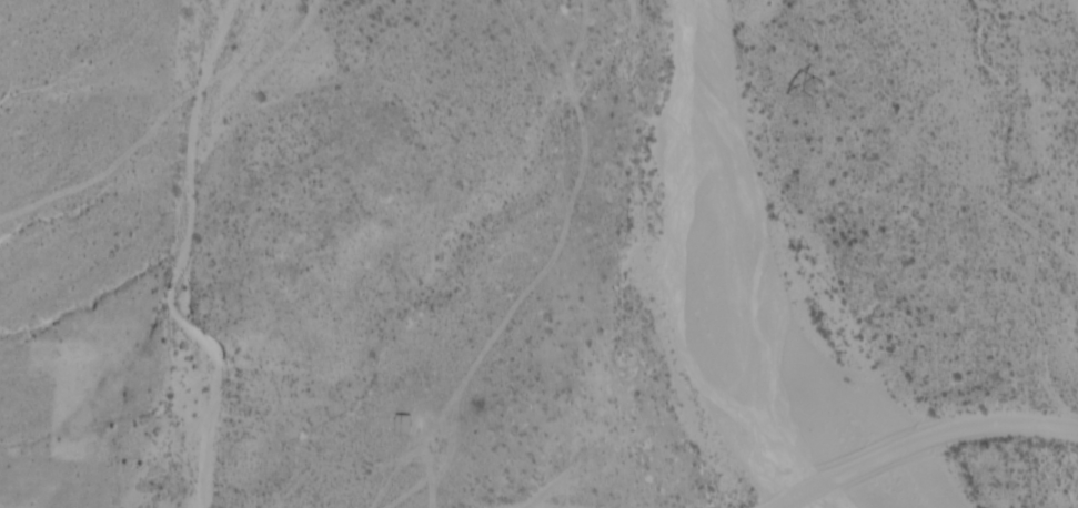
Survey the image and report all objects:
power tower: (810, 89)
river: (701, 277)
building: (401, 426)
road: (927, 444)

